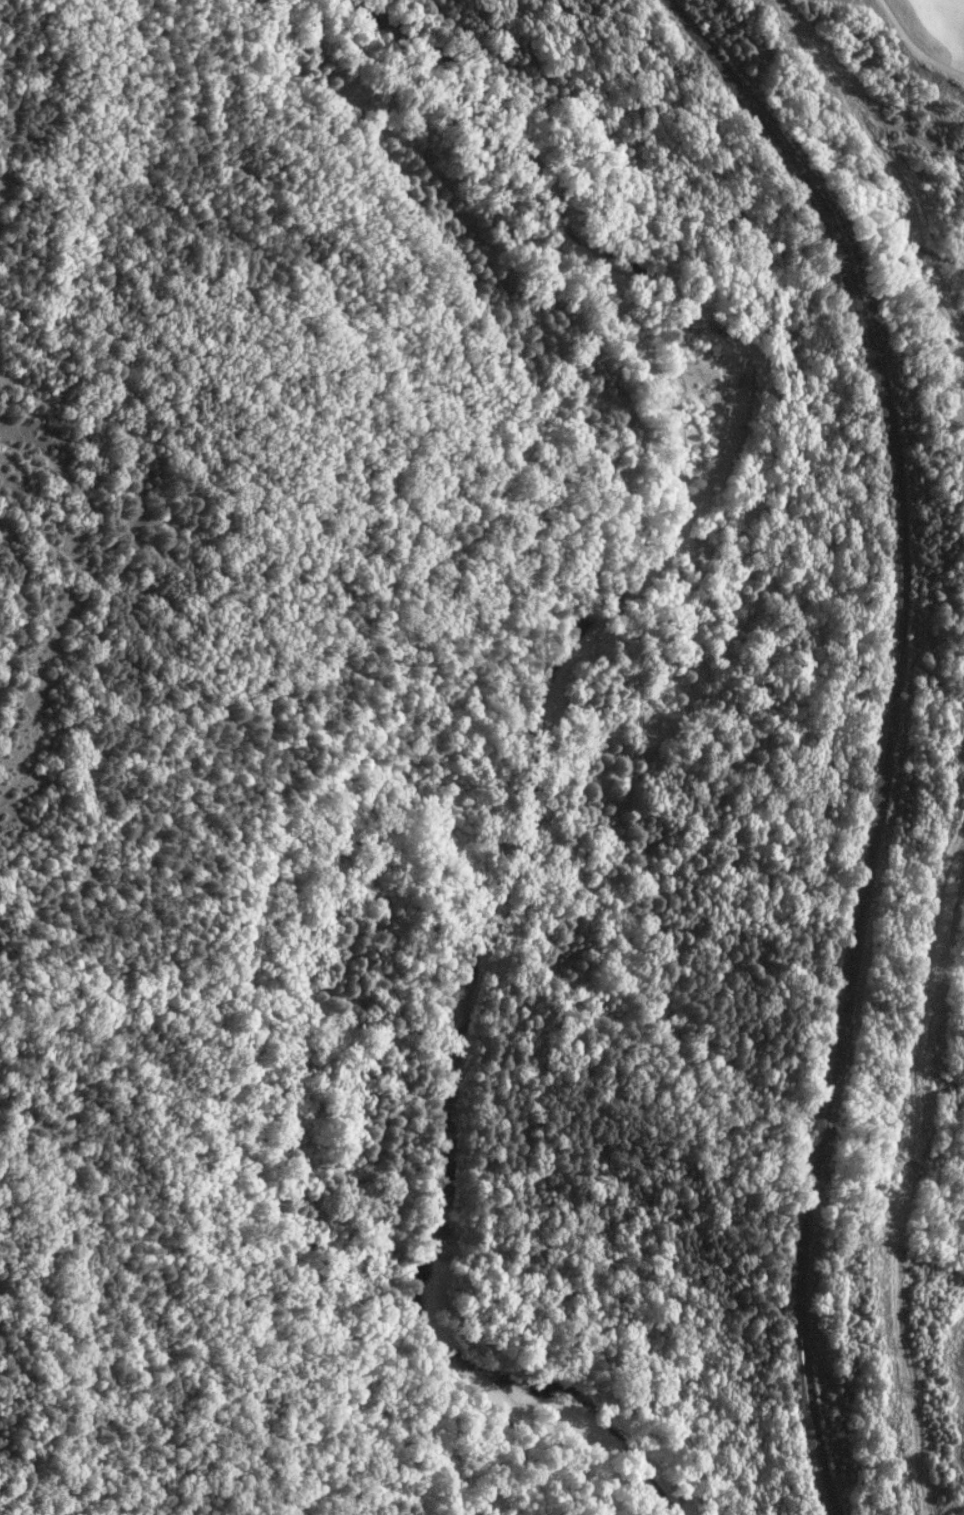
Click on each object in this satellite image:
road: (912, 49)
park: (889, 206)
railway: (890, 731)
park: (944, 1209)

